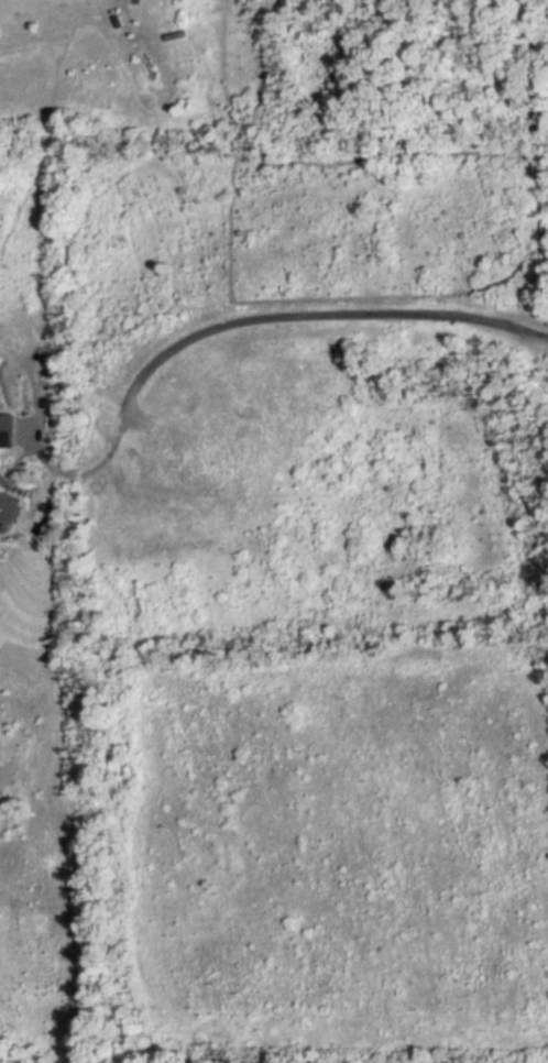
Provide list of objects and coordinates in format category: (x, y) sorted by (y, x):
road: (259, 328)
building: (7, 427)
building: (8, 505)

